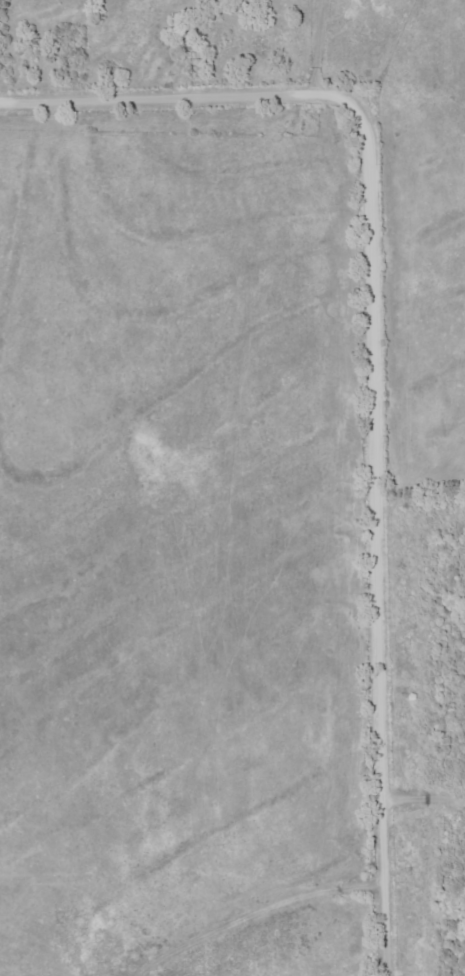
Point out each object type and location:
road: (376, 360)

